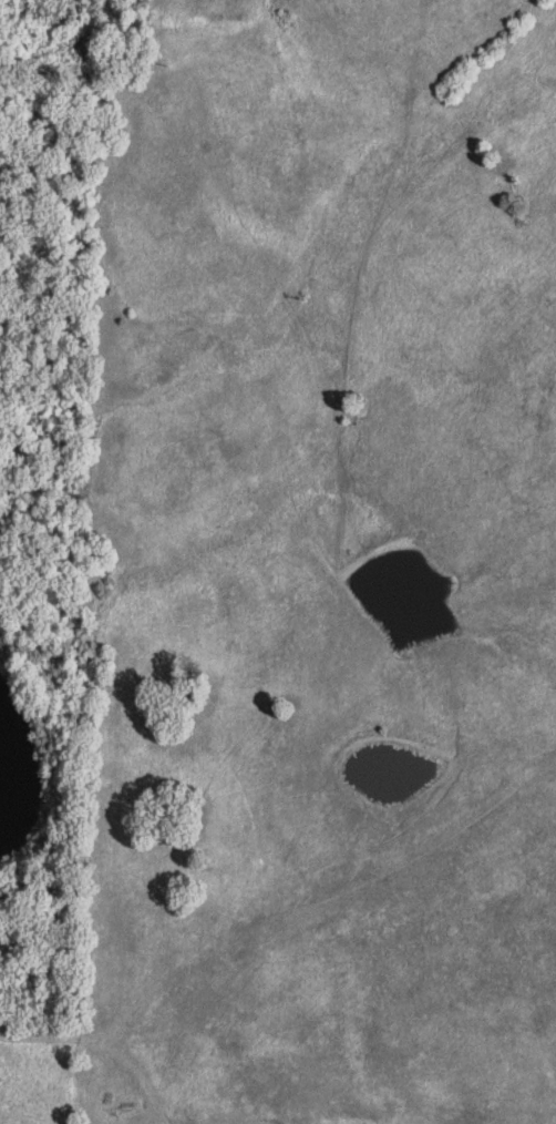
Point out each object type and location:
road: (127, 844)

